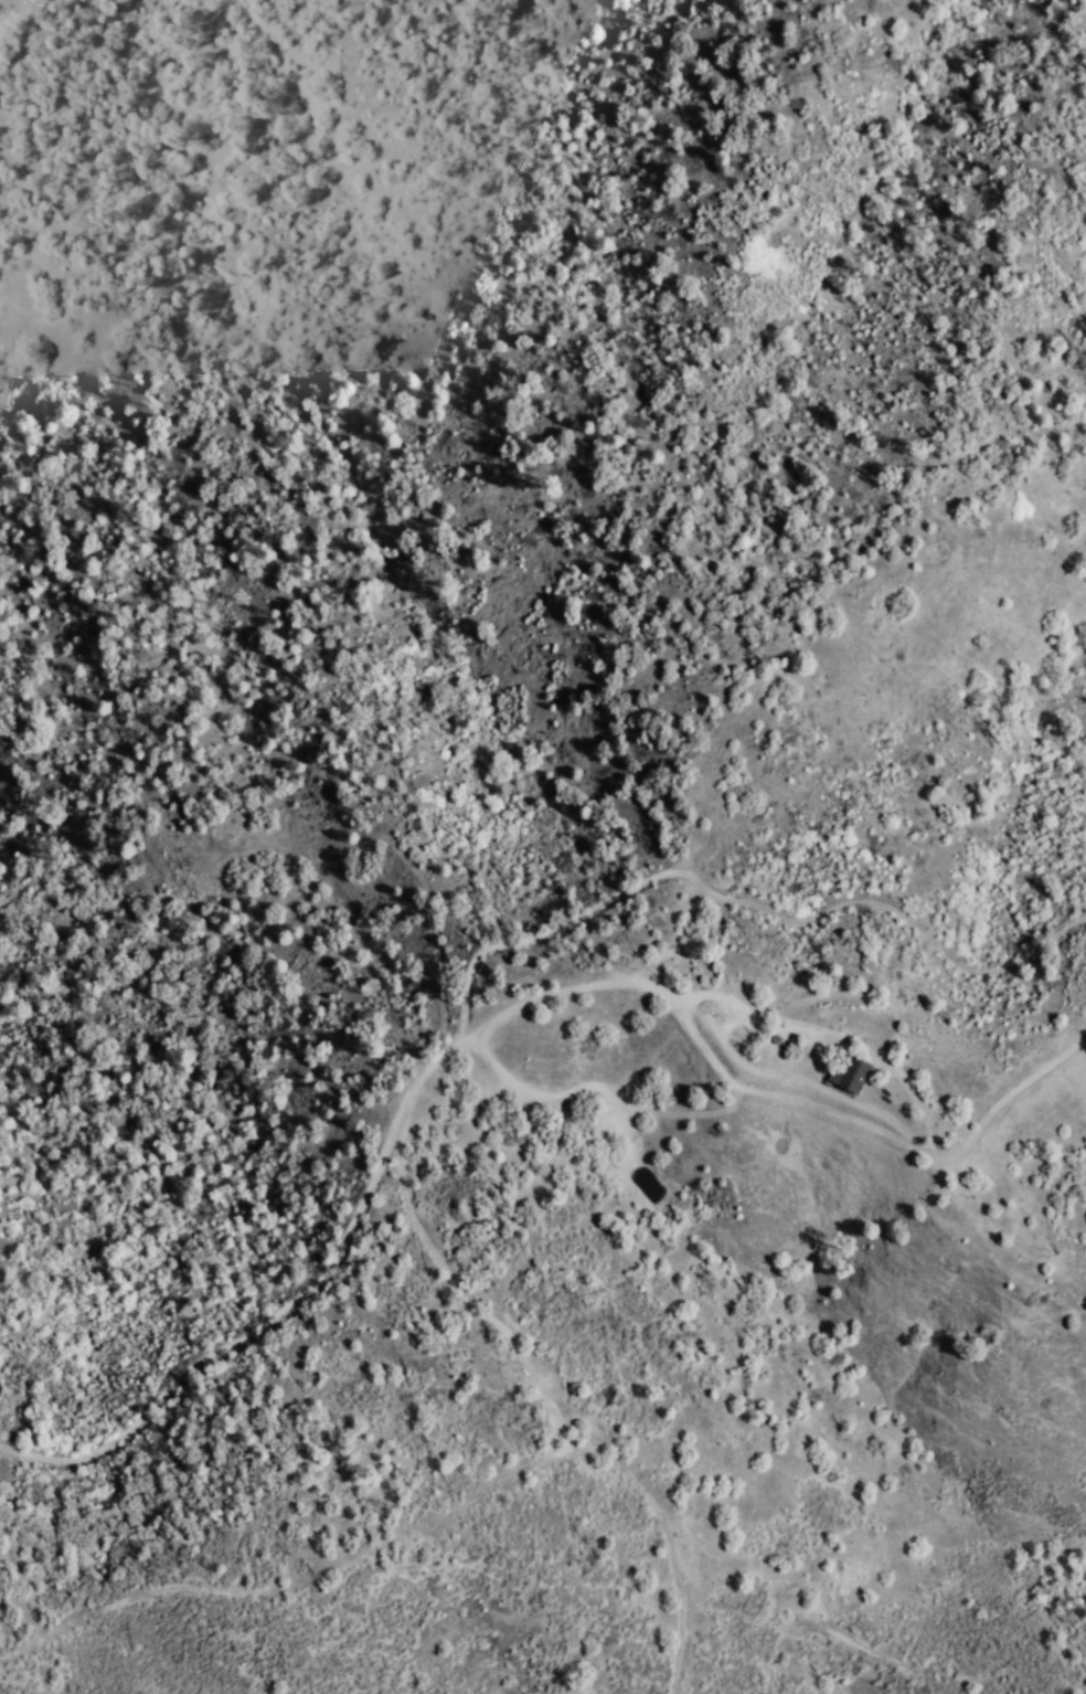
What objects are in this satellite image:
building: (847, 1074)

